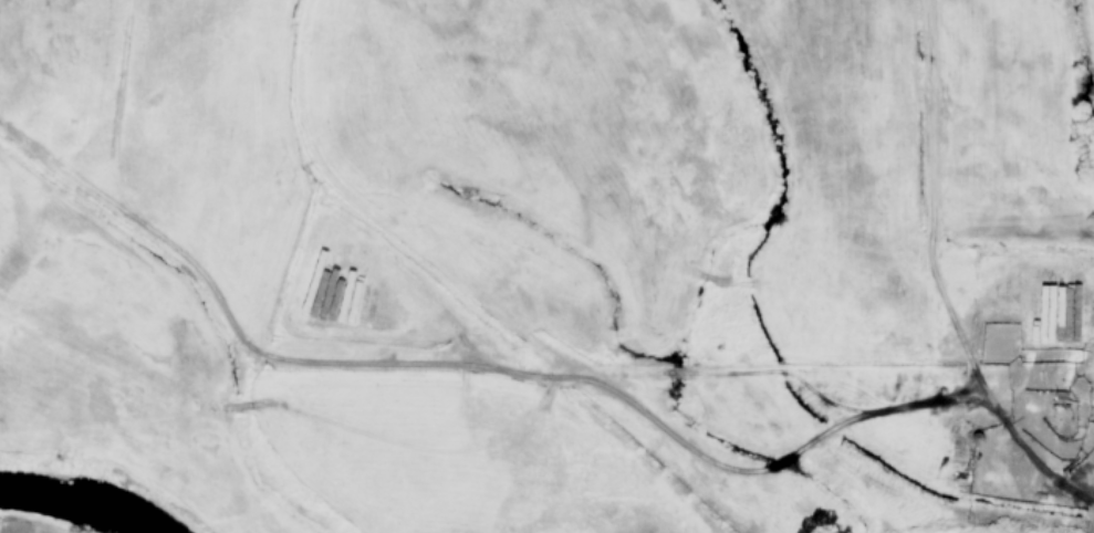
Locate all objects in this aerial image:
building: (333, 293)
river: (80, 503)

